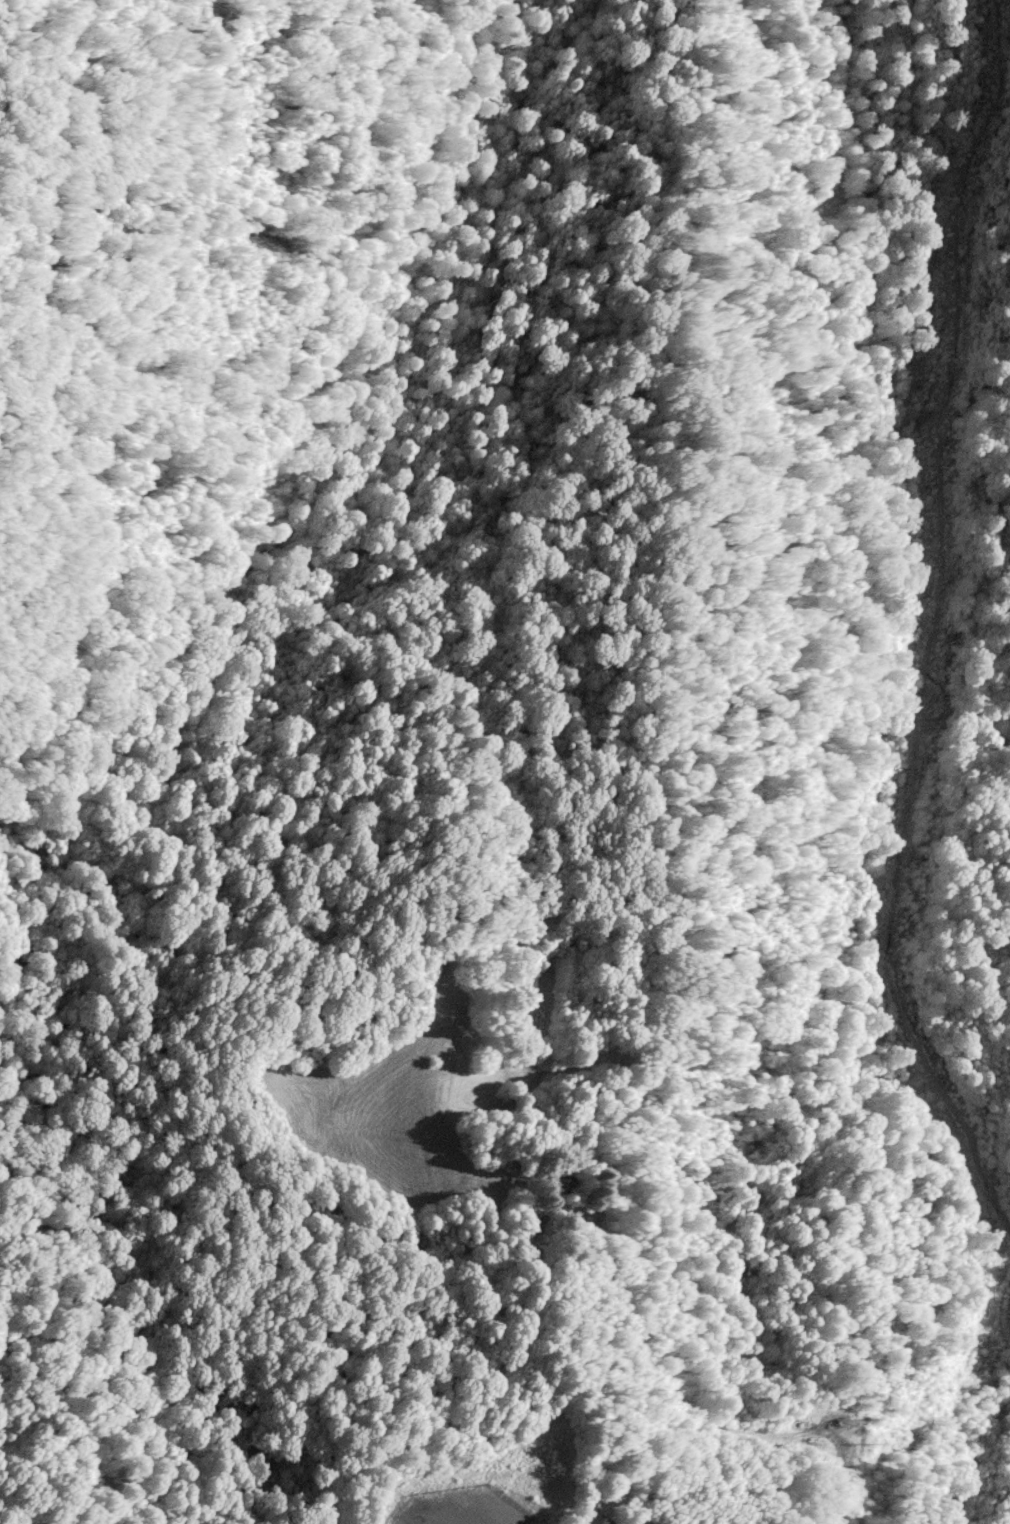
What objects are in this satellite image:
building: (140, 1162)
building: (559, 1187)
road: (844, 1469)
building: (588, 1519)

